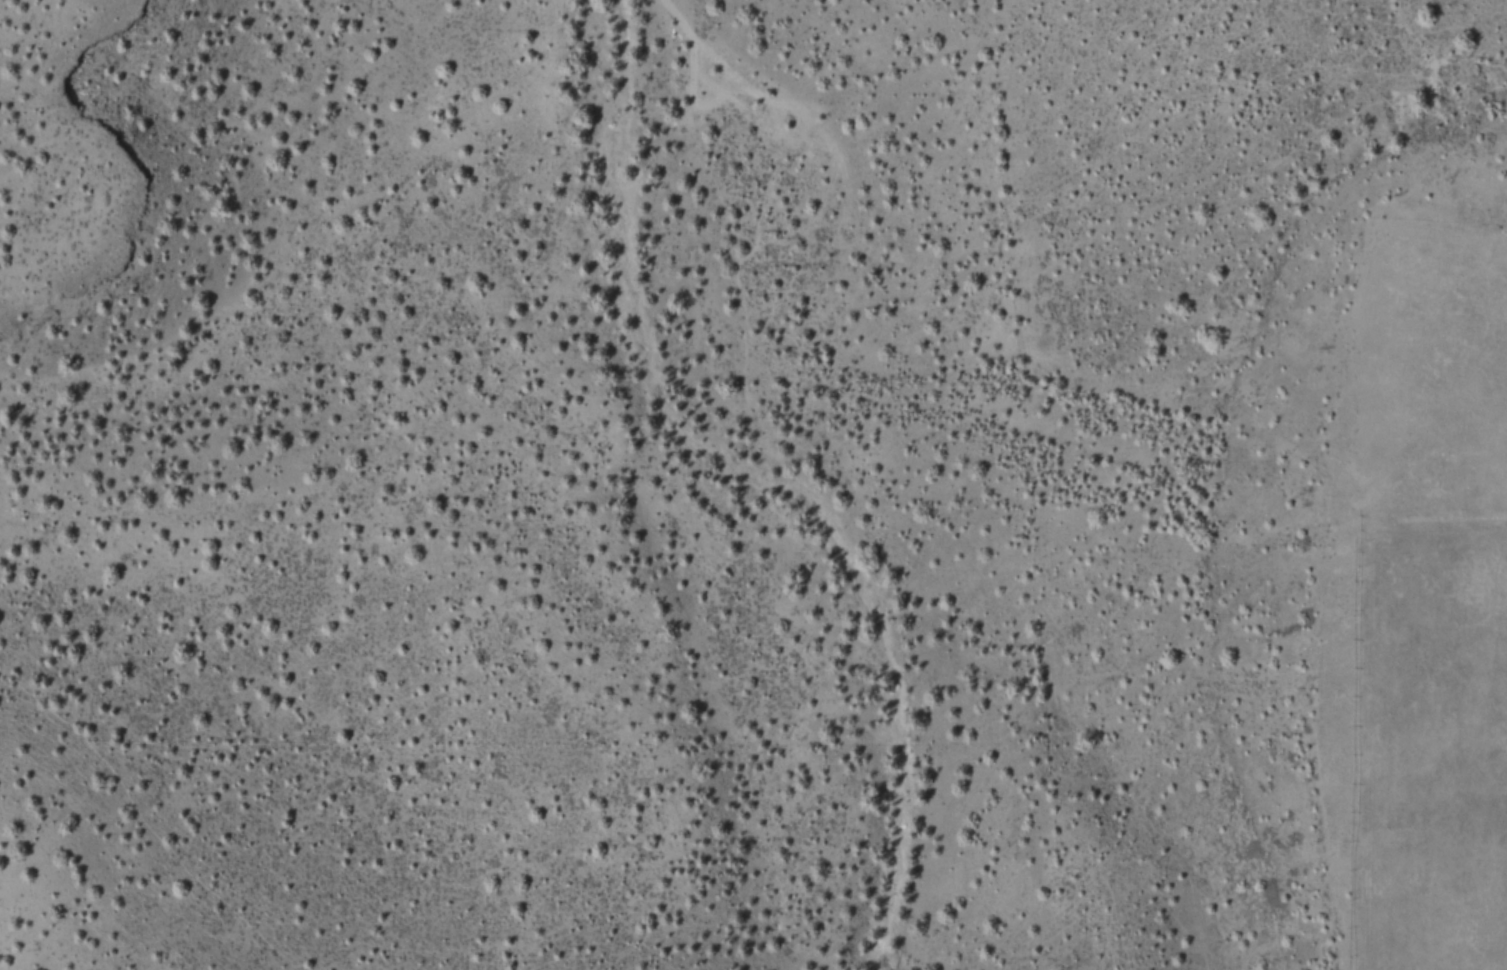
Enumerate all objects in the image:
crop: (1412, 561)

